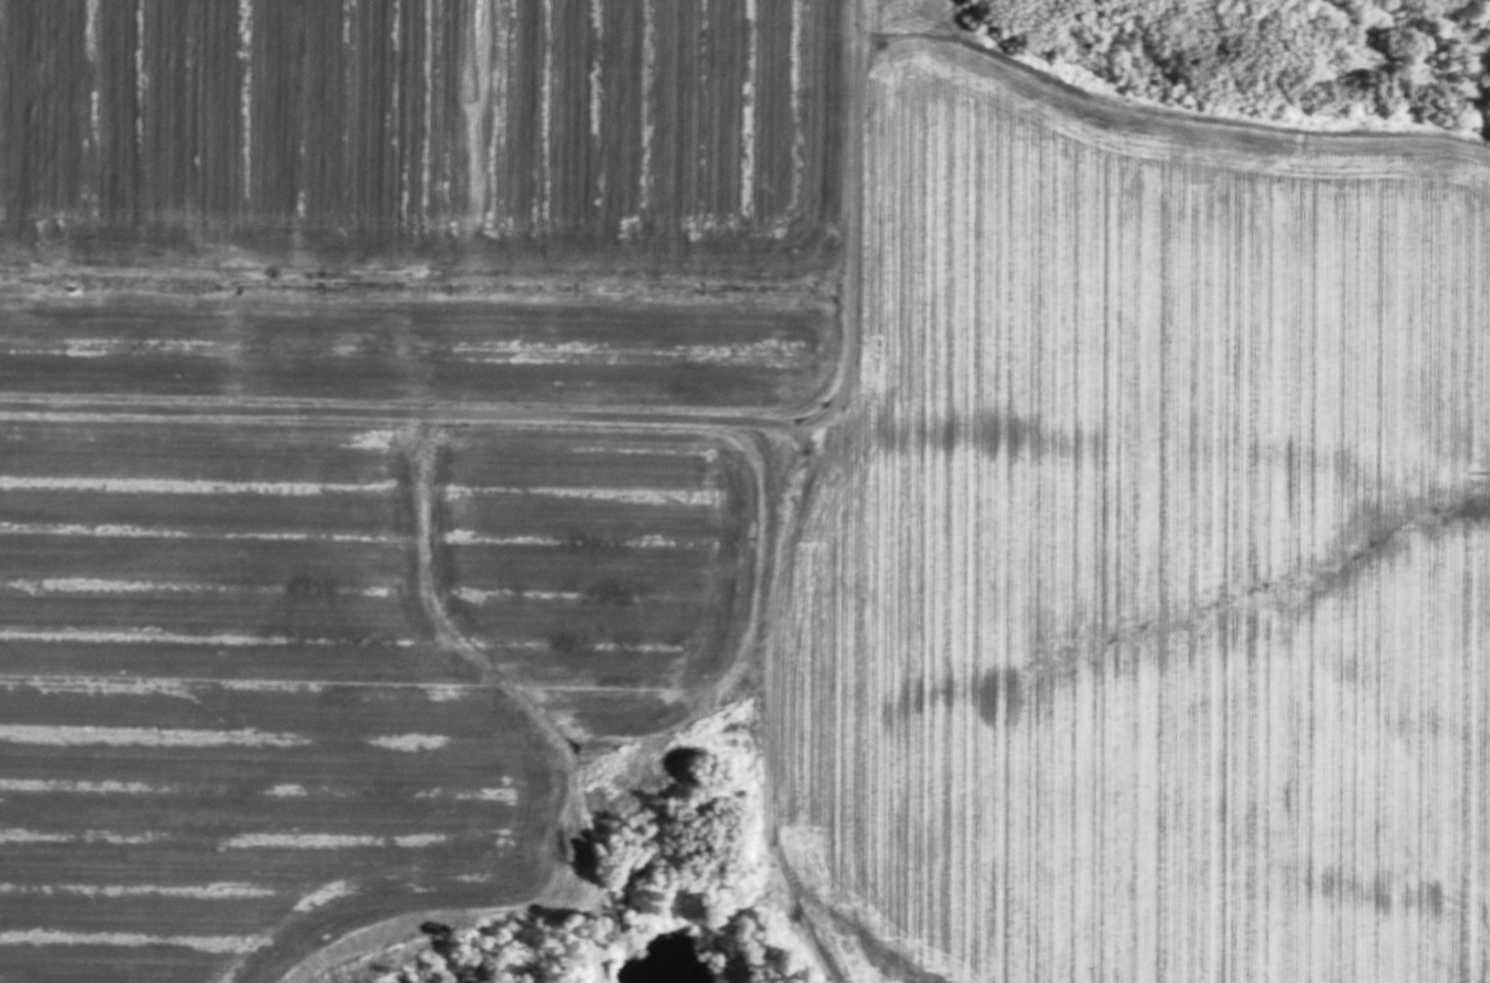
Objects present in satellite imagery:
road: (624, 415)

